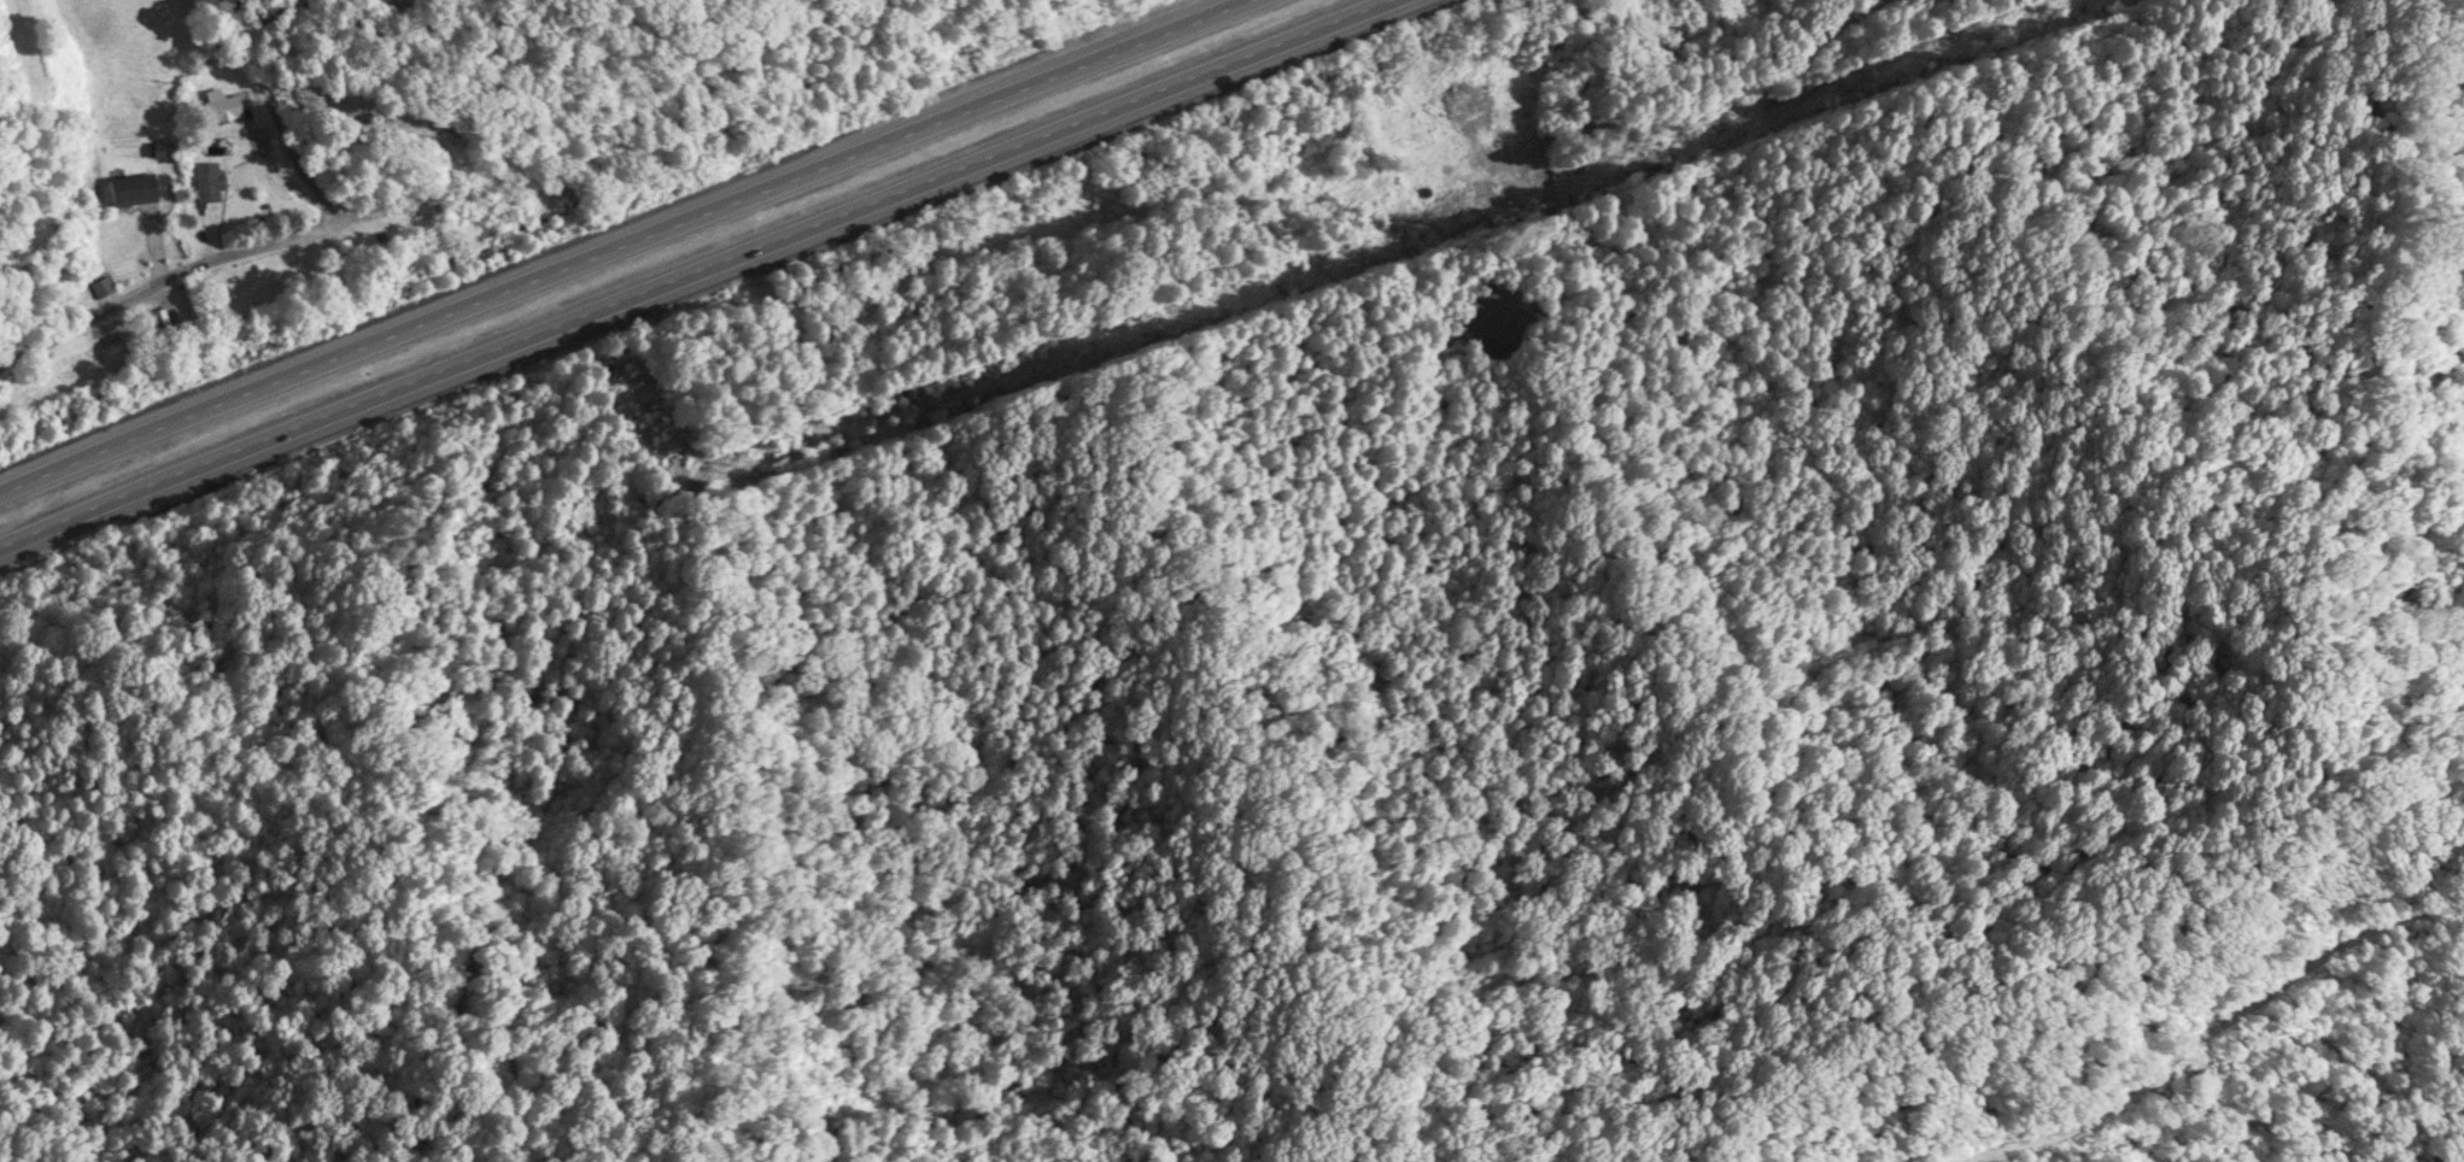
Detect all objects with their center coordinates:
building: (1465, 100)
building: (1442, 176)
building: (209, 184)
building: (134, 192)
road: (276, 213)
road: (627, 246)
road: (696, 274)

